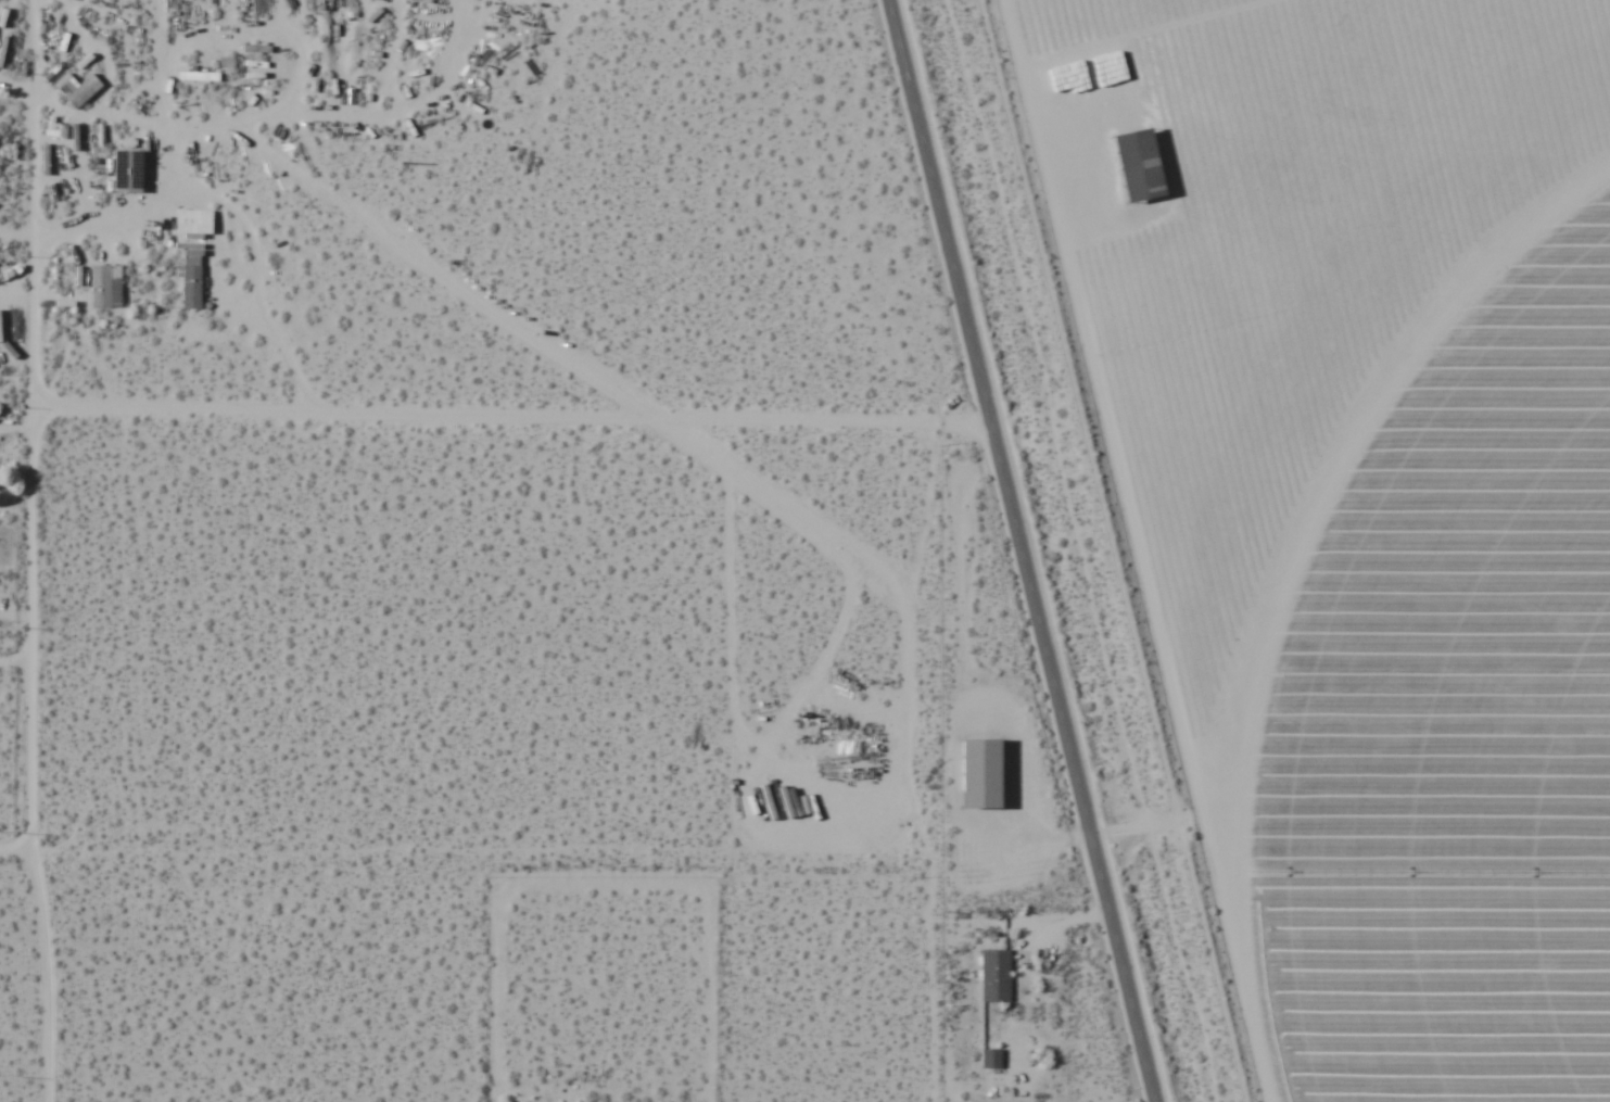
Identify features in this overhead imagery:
building: (329, 3)
building: (198, 75)
building: (83, 90)
building: (1140, 165)
building: (104, 286)
building: (190, 286)
road: (512, 420)
road: (33, 426)
road: (1022, 550)
crop: (1431, 699)
building: (983, 772)
road: (13, 852)
road: (48, 975)
building: (994, 975)
building: (990, 1057)

